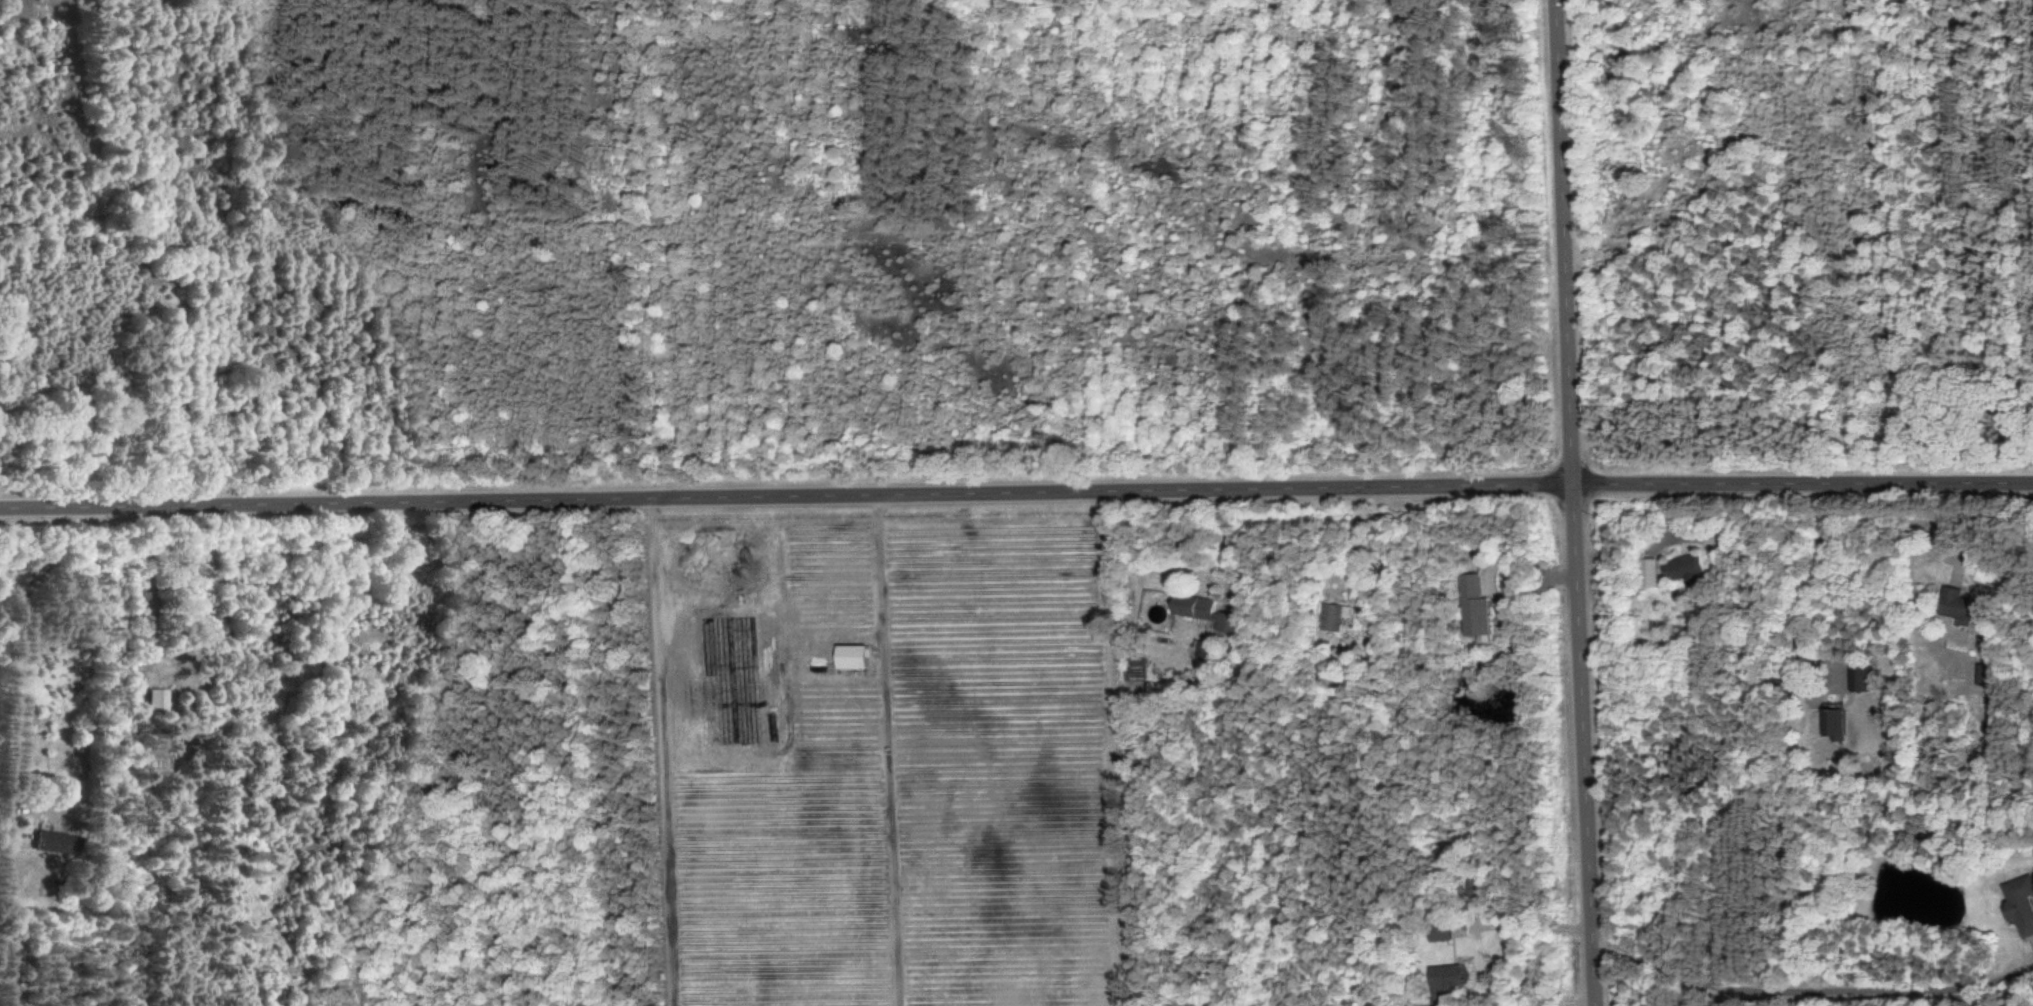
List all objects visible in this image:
road: (1016, 490)
road: (1568, 503)
road: (1358, 538)
road: (1227, 541)
road: (1811, 565)
building: (1682, 567)
building: (1647, 572)
road: (149, 586)
building: (1953, 603)
building: (1473, 606)
building: (1201, 611)
building: (1333, 616)
building: (1202, 649)
building: (848, 655)
building: (1981, 673)
building: (1857, 677)
building: (156, 700)
building: (1830, 721)
building: (48, 841)
building: (2020, 903)
road: (1533, 924)
building: (1438, 933)
building: (1445, 977)
road: (1801, 985)

